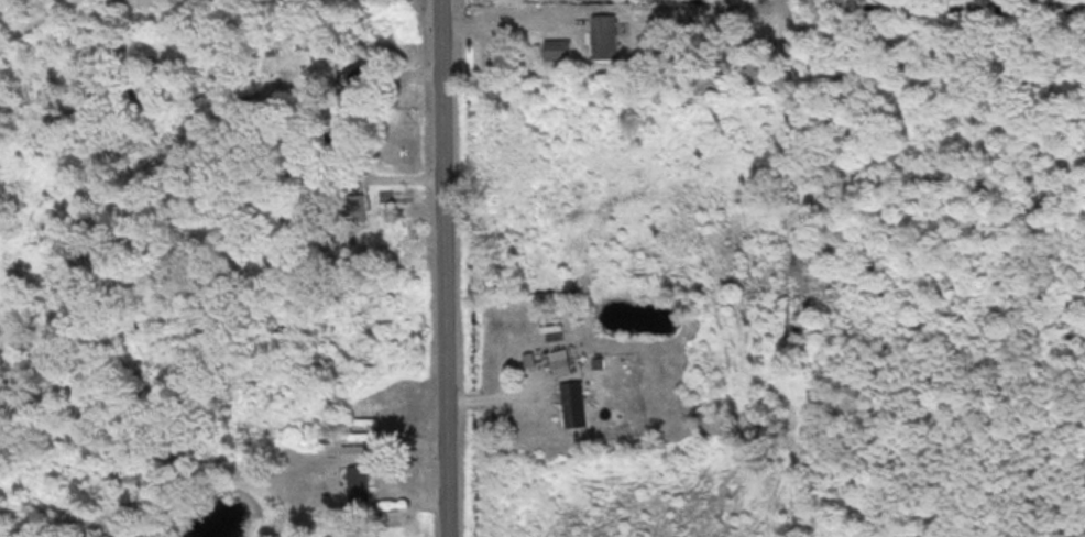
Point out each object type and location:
road: (503, 20)
building: (606, 34)
building: (556, 48)
building: (363, 69)
road: (442, 267)
building: (578, 401)

